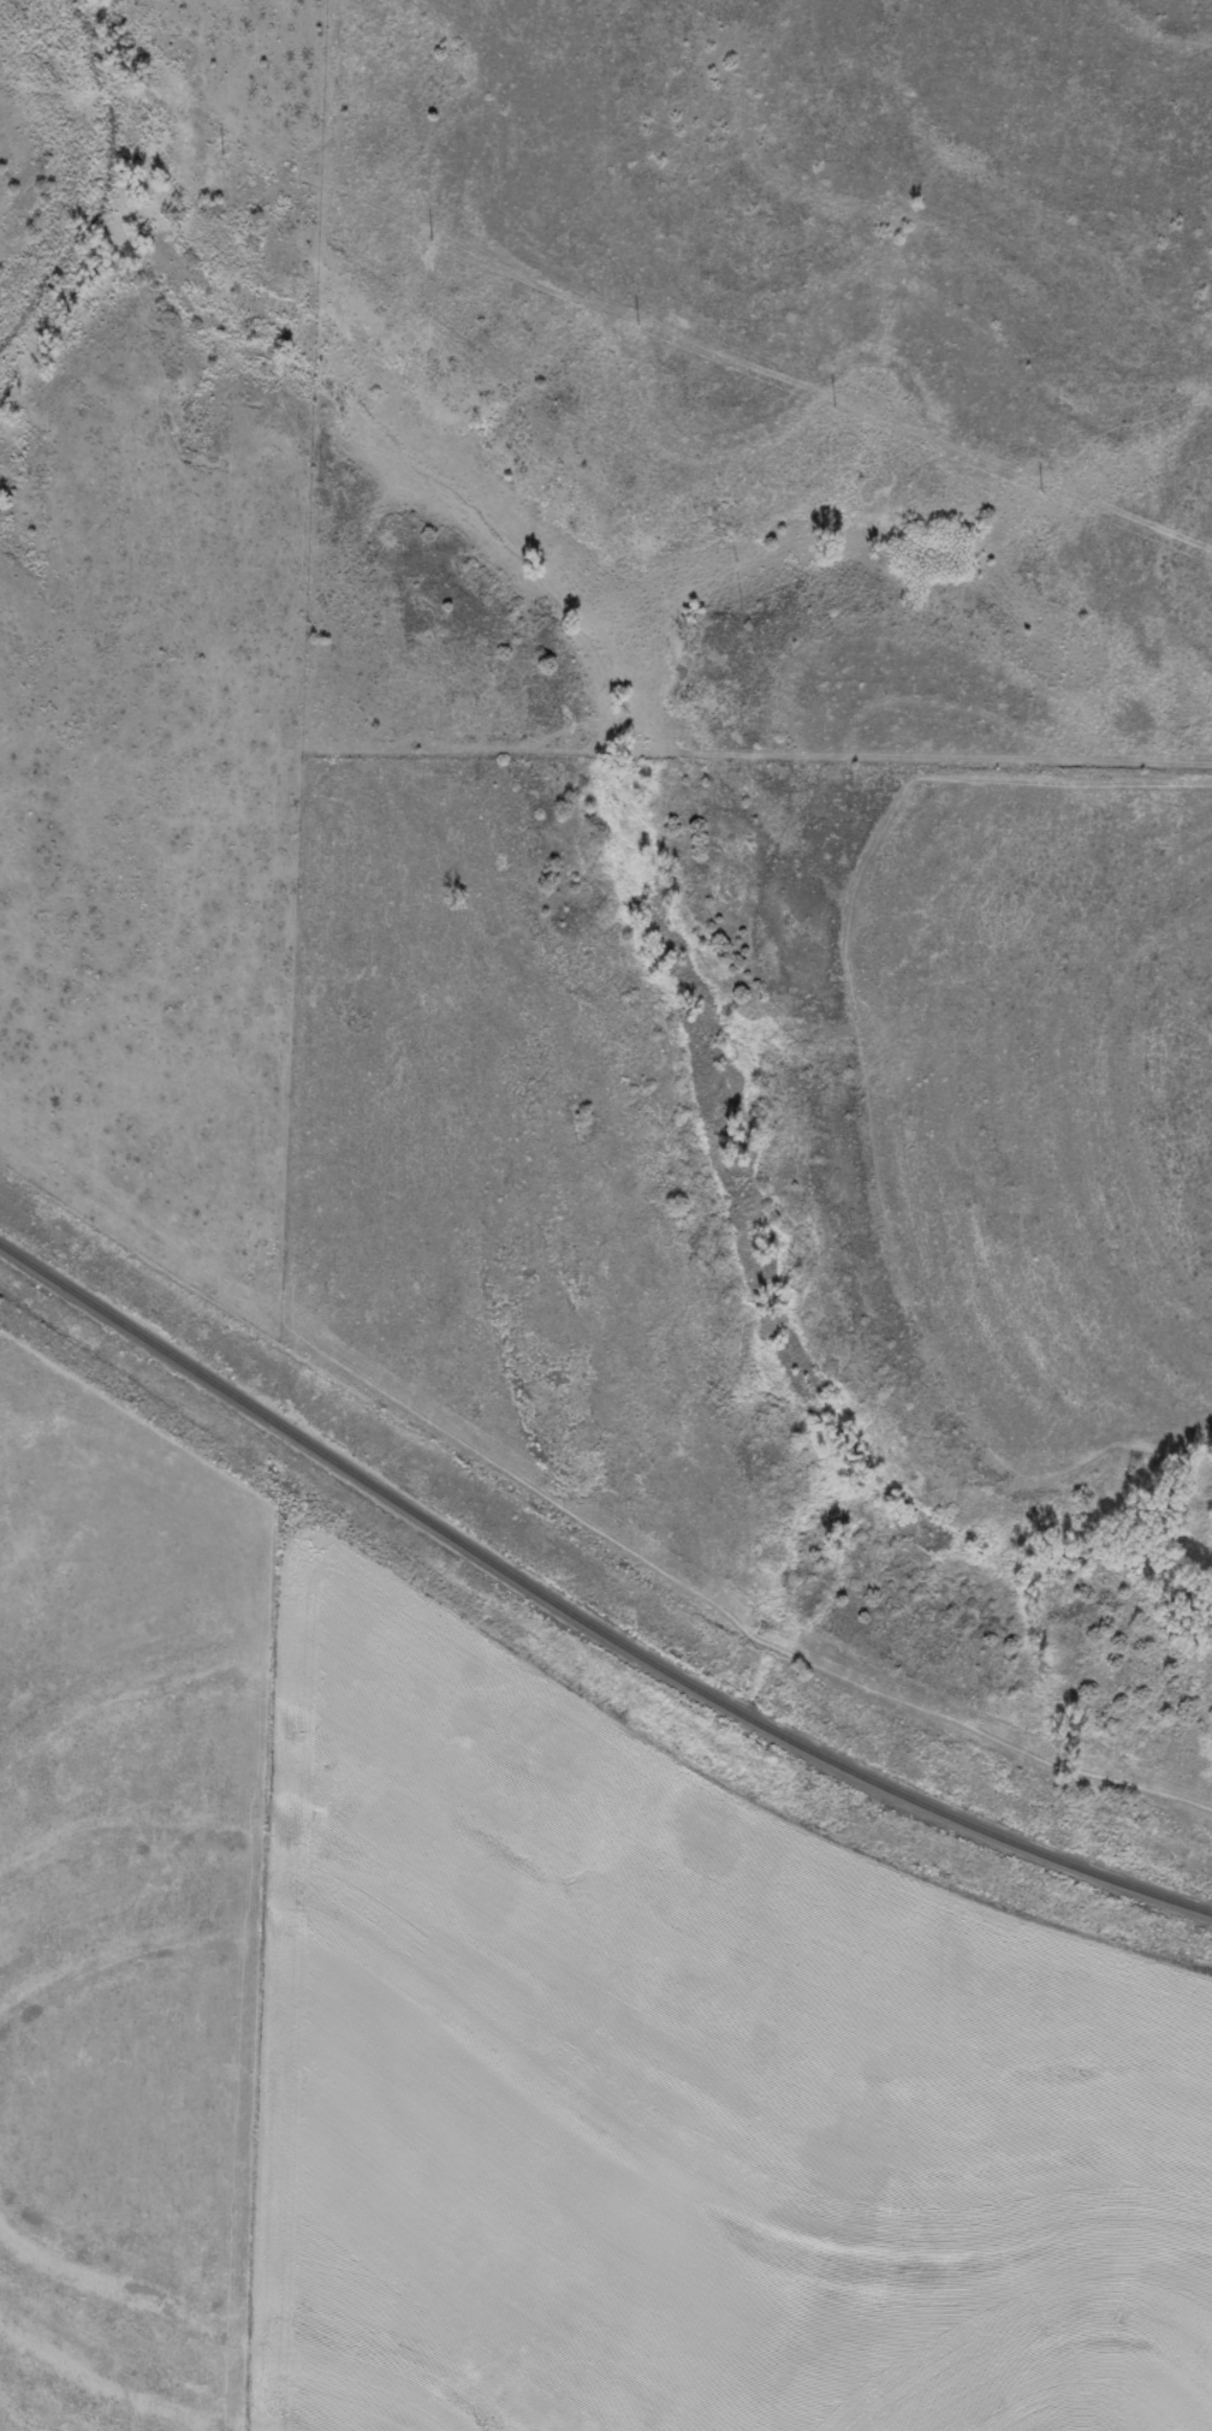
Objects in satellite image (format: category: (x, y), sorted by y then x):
railway: (582, 1635)

